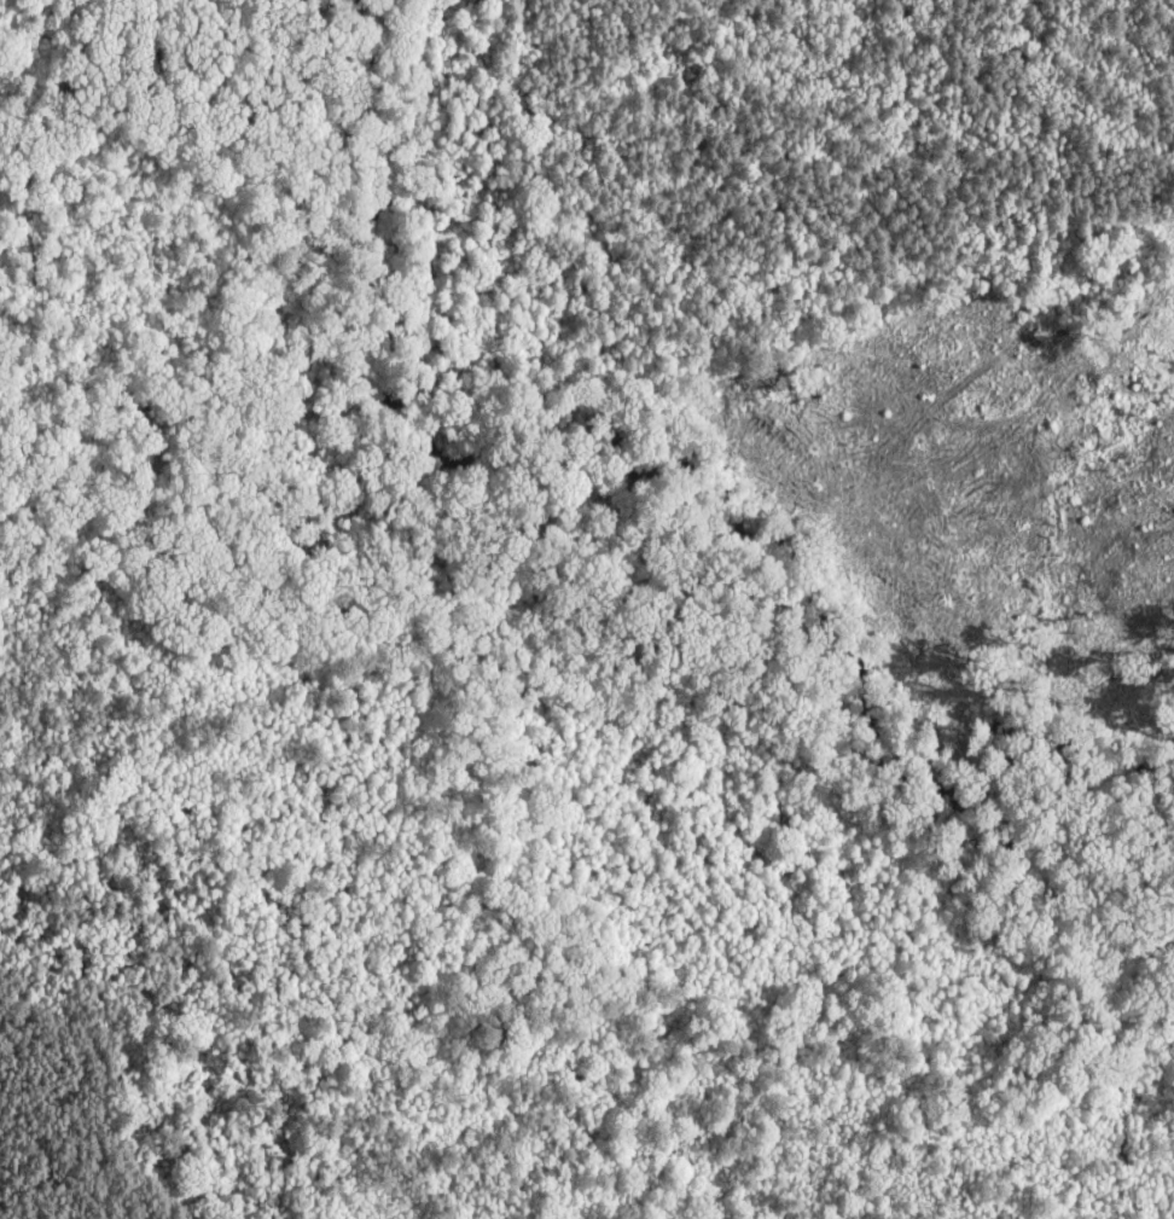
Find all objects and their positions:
road: (1145, 251)

